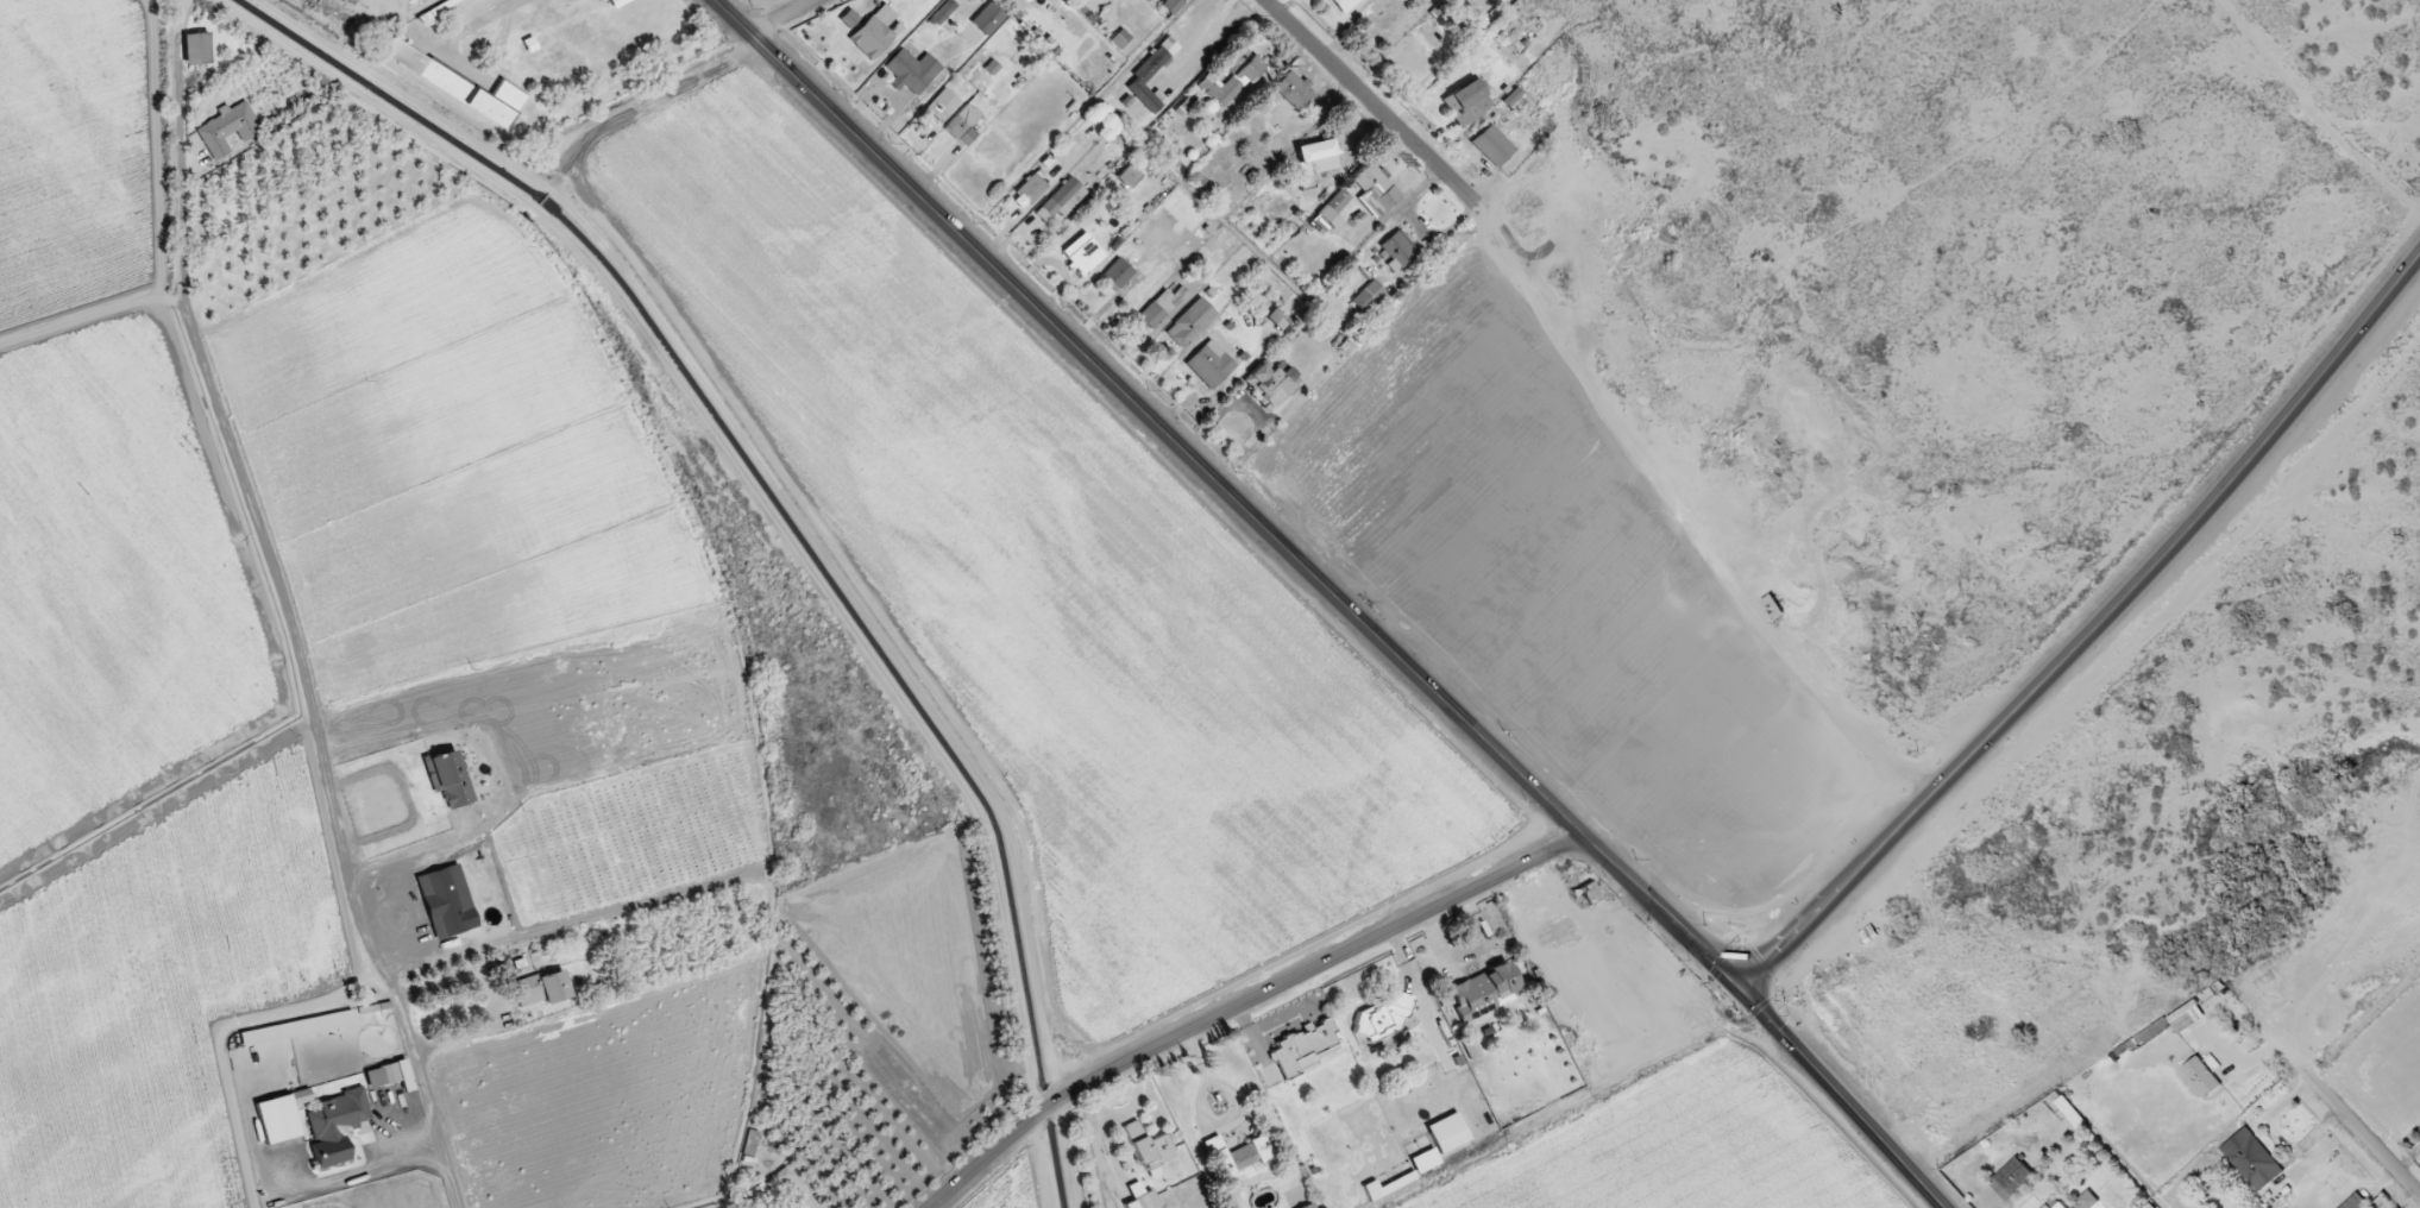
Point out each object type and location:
building: (617, 2)
building: (1496, 2)
building: (1169, 5)
building: (1343, 5)
building: (941, 13)
road: (785, 17)
building: (848, 19)
building: (986, 19)
building: (873, 33)
building: (1119, 39)
building: (196, 50)
building: (989, 68)
building: (910, 71)
building: (1150, 74)
building: (1231, 77)
building: (455, 86)
building: (1293, 90)
building: (1510, 97)
road: (1372, 100)
building: (1465, 103)
building: (941, 107)
building: (963, 126)
building: (227, 130)
building: (1491, 146)
building: (1312, 162)
building: (1127, 176)
building: (1030, 189)
building: (1374, 190)
building: (1060, 203)
building: (1328, 214)
building: (1396, 251)
building: (1082, 254)
building: (1118, 273)
building: (1366, 296)
building: (1161, 307)
building: (1276, 320)
building: (1189, 323)
building: (1208, 365)
building: (1268, 386)
road: (763, 472)
road: (1335, 597)
road: (283, 609)
road: (2091, 633)
building: (447, 779)
building: (1589, 893)
building: (541, 989)
traffic signals: (1741, 989)
building: (1482, 993)
road: (1245, 1003)
building: (1381, 1018)
building: (295, 1030)
building: (1303, 1047)
building: (1470, 1050)
building: (389, 1076)
building: (2201, 1077)
building: (279, 1116)
building: (334, 1127)
road: (2362, 1132)
building: (1446, 1133)
building: (748, 1144)
building: (1148, 1147)
road: (2407, 1158)
building: (1237, 1160)
building: (2251, 1160)
building: (1423, 1162)
building: (2011, 1179)
building: (786, 1181)
building: (1139, 1197)
building: (2355, 1202)

